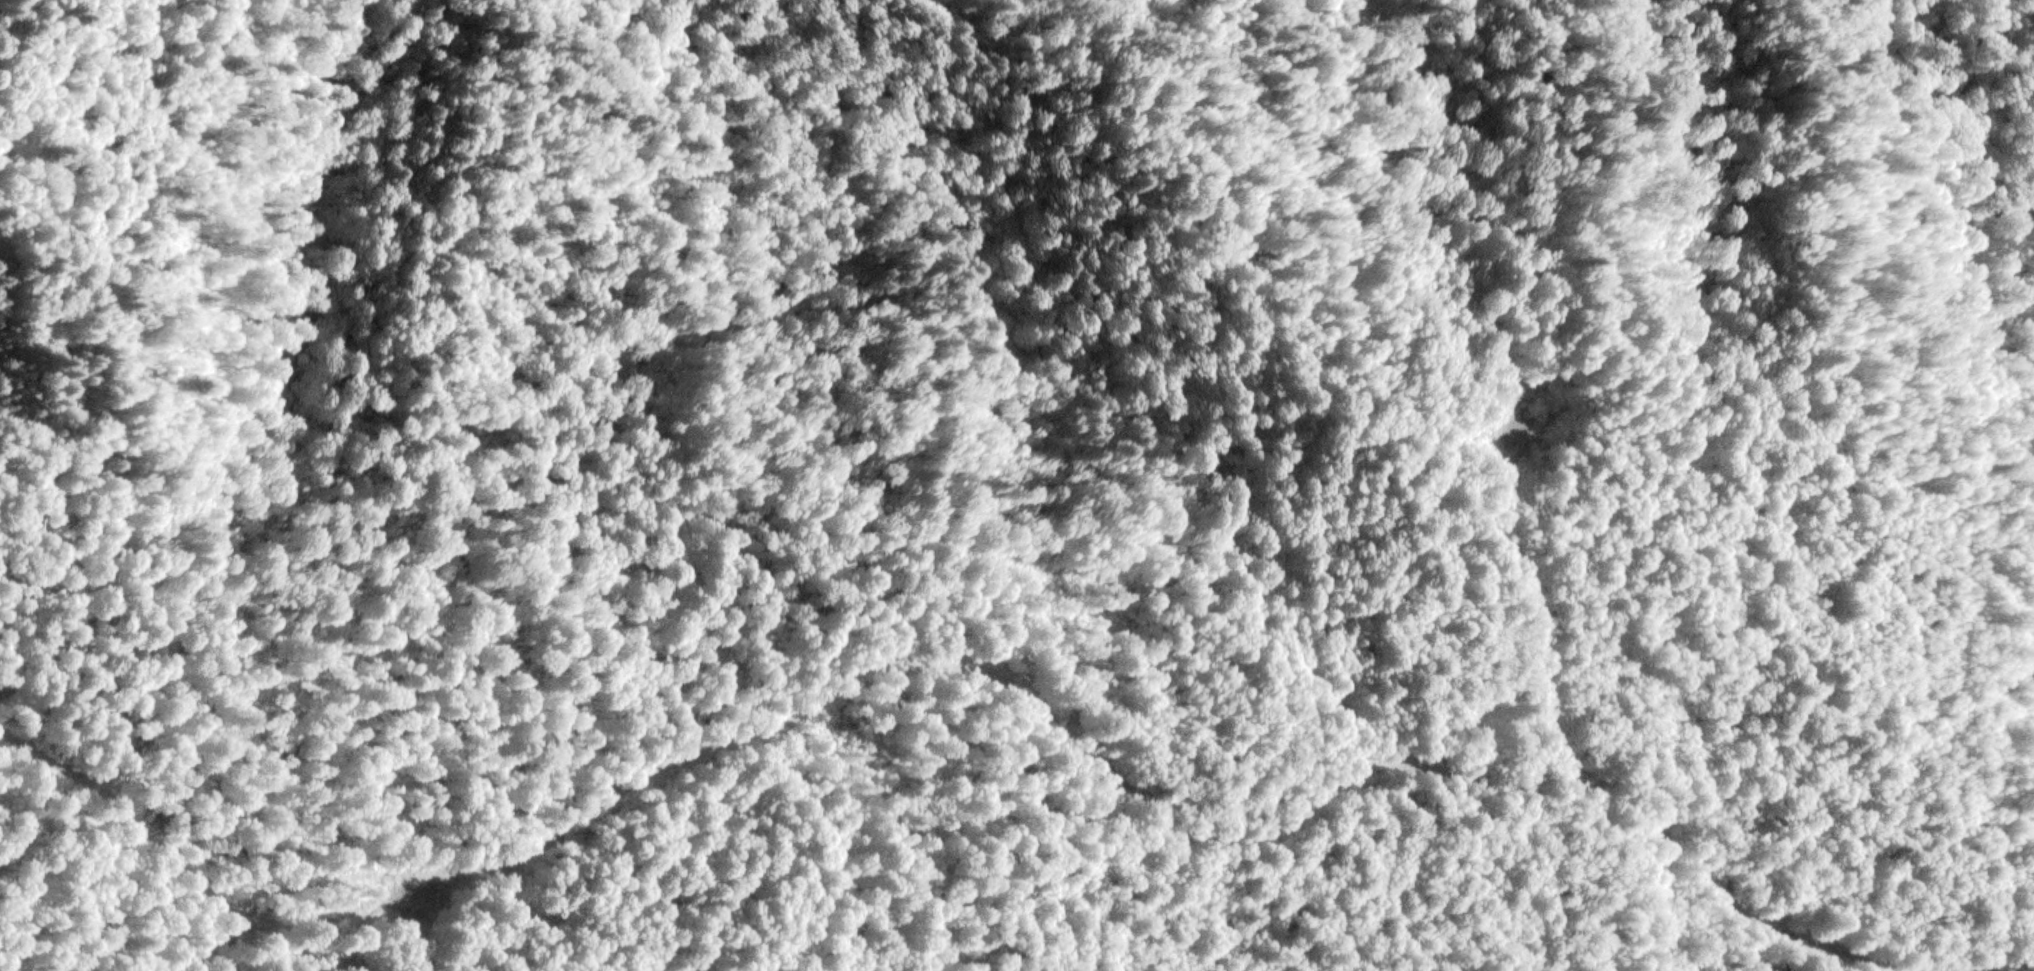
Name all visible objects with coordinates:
road: (944, 678)

